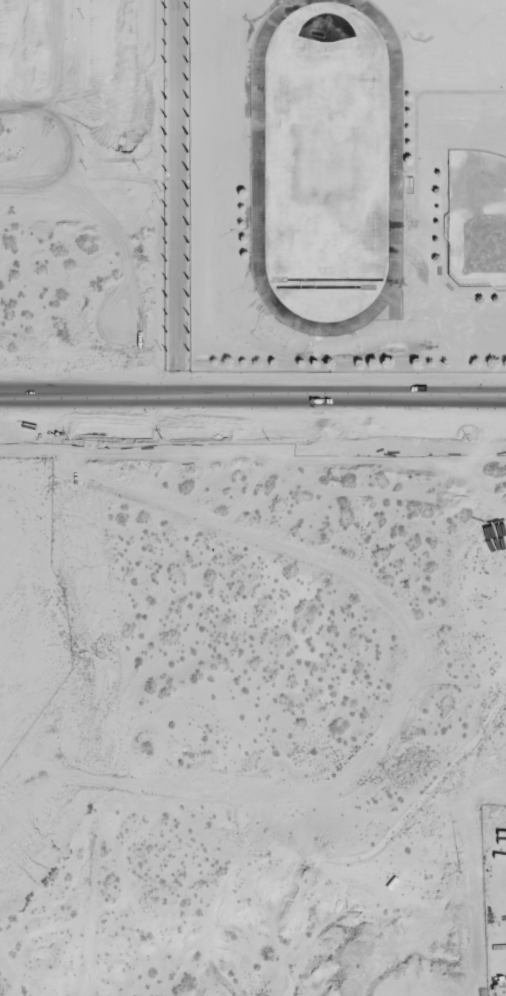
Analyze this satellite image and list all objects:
park: (326, 159)
track: (393, 163)
park: (476, 218)
road: (190, 397)
road: (443, 397)
road: (443, 403)
road: (348, 800)

